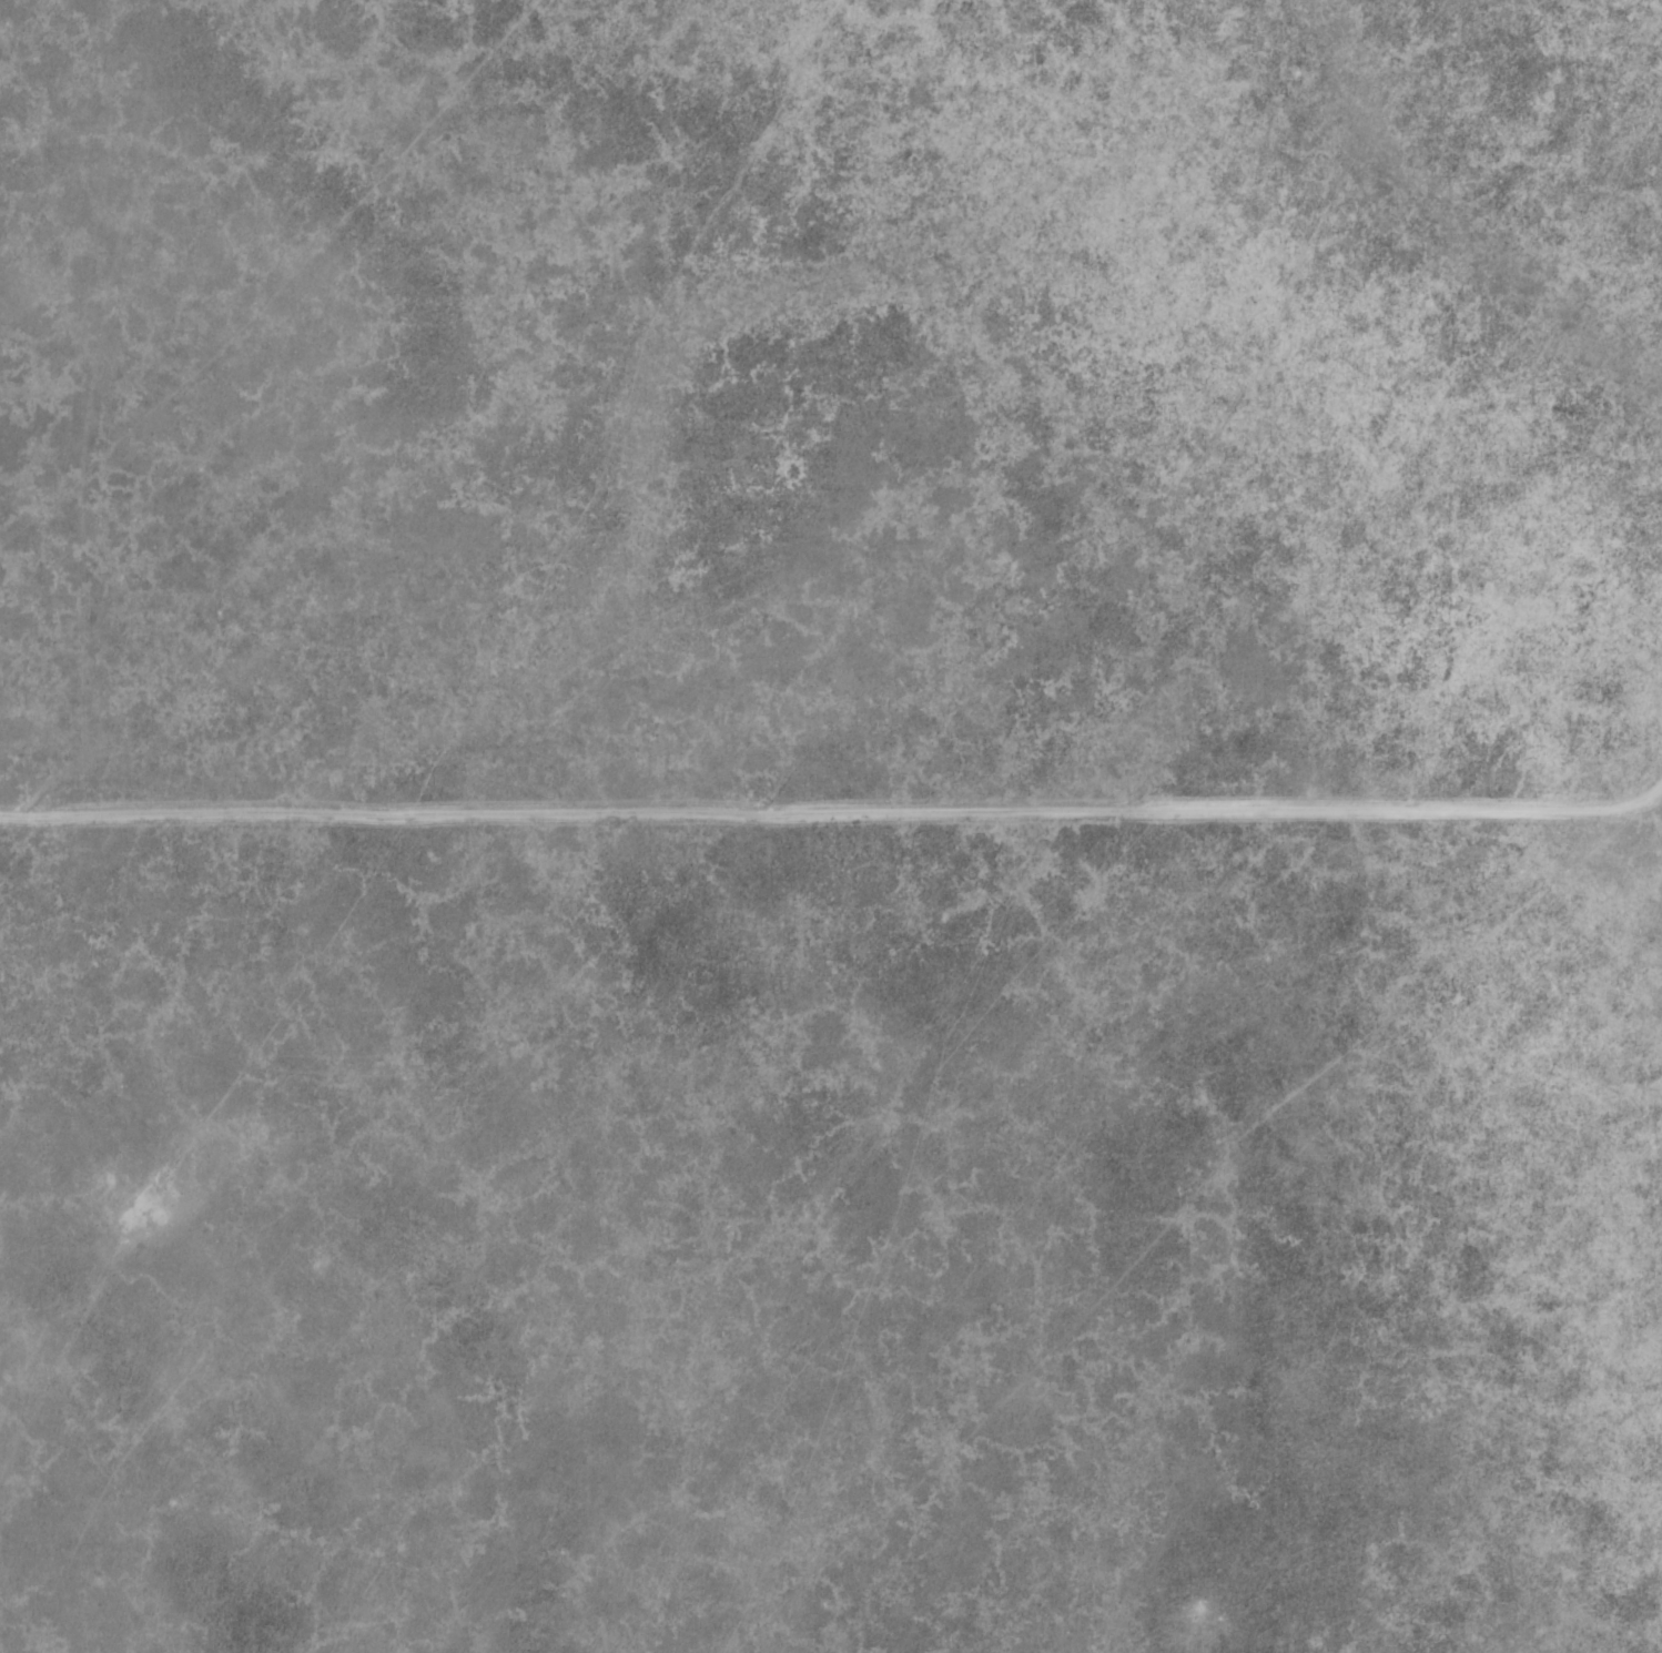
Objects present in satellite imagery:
road: (831, 764)

